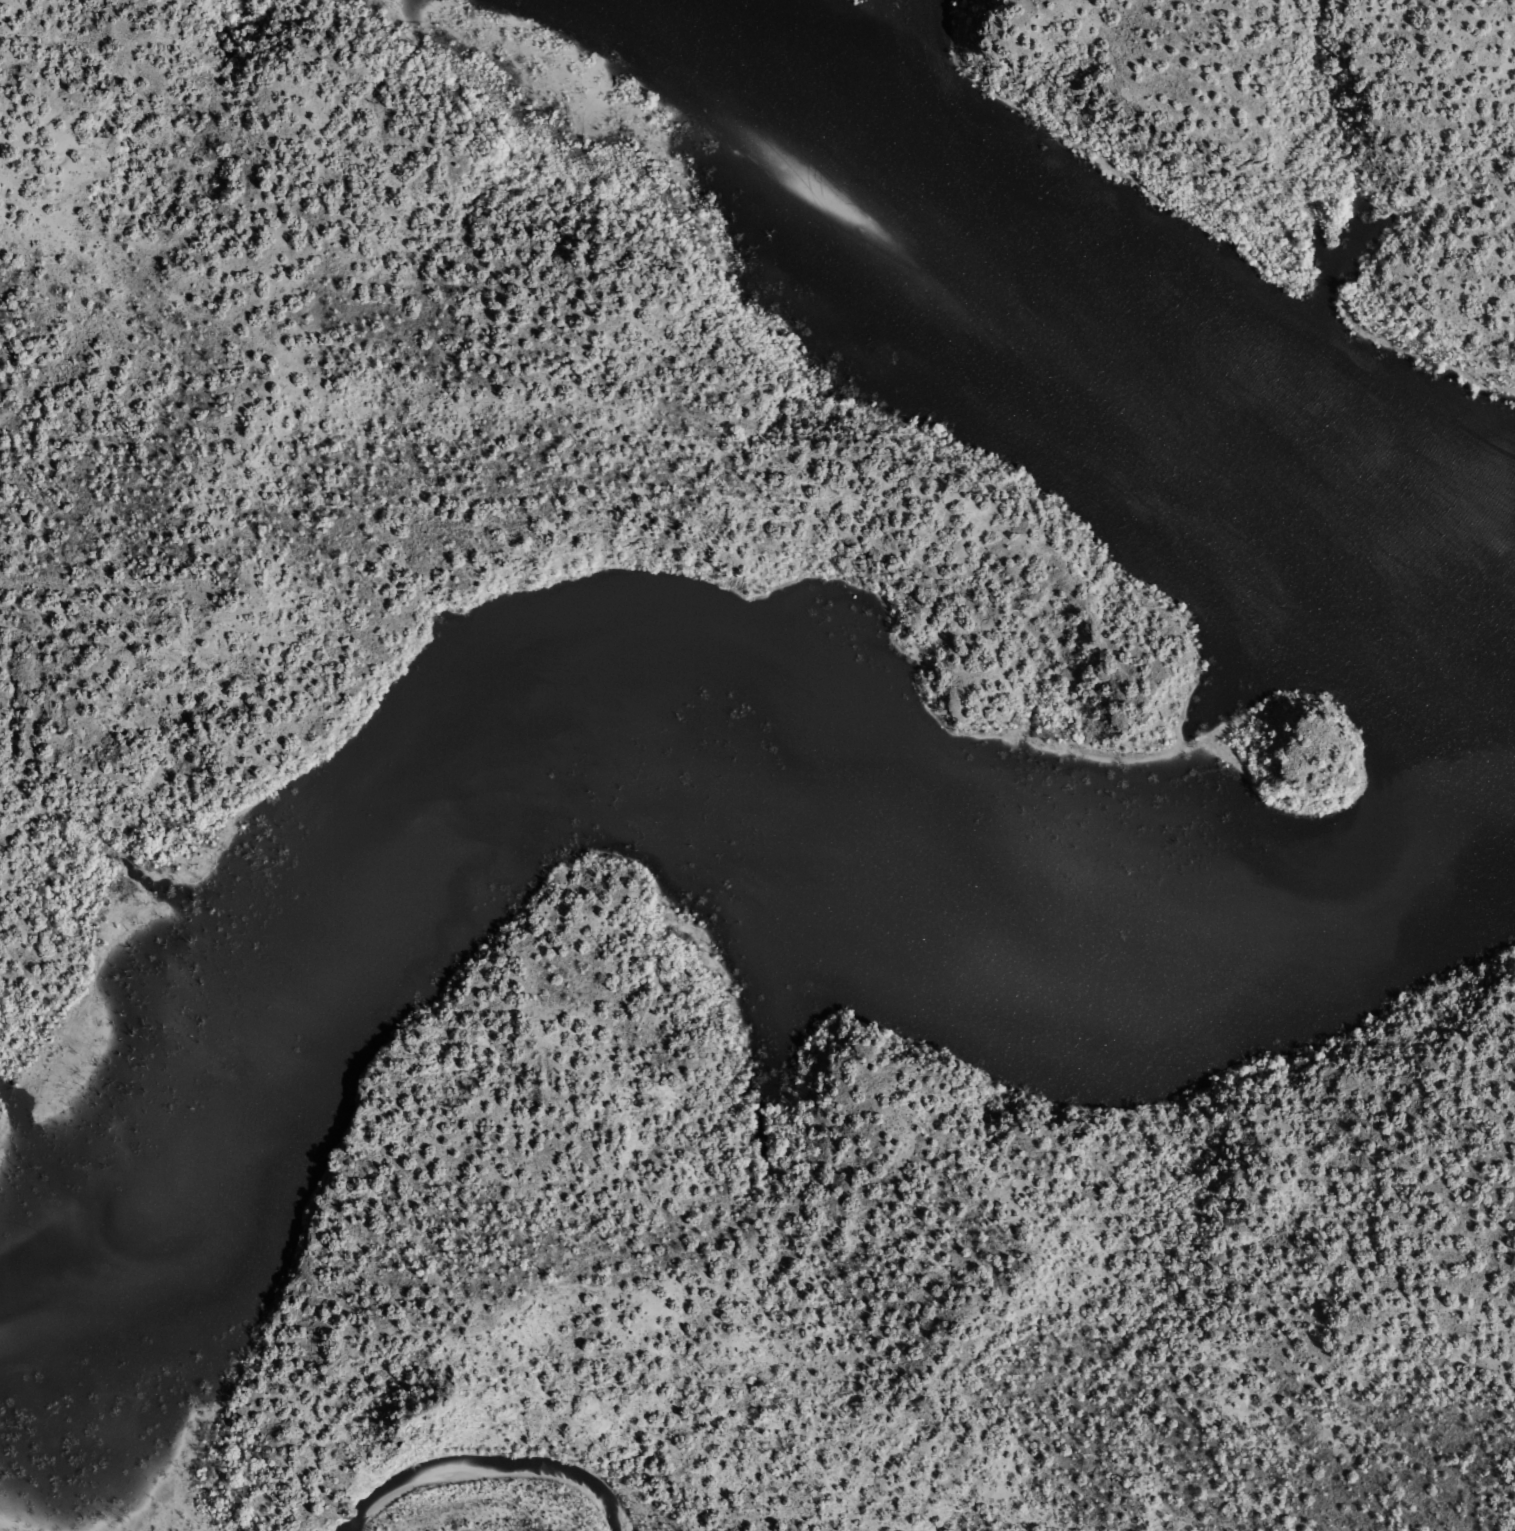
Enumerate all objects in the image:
road: (99, 259)
river: (1076, 299)

